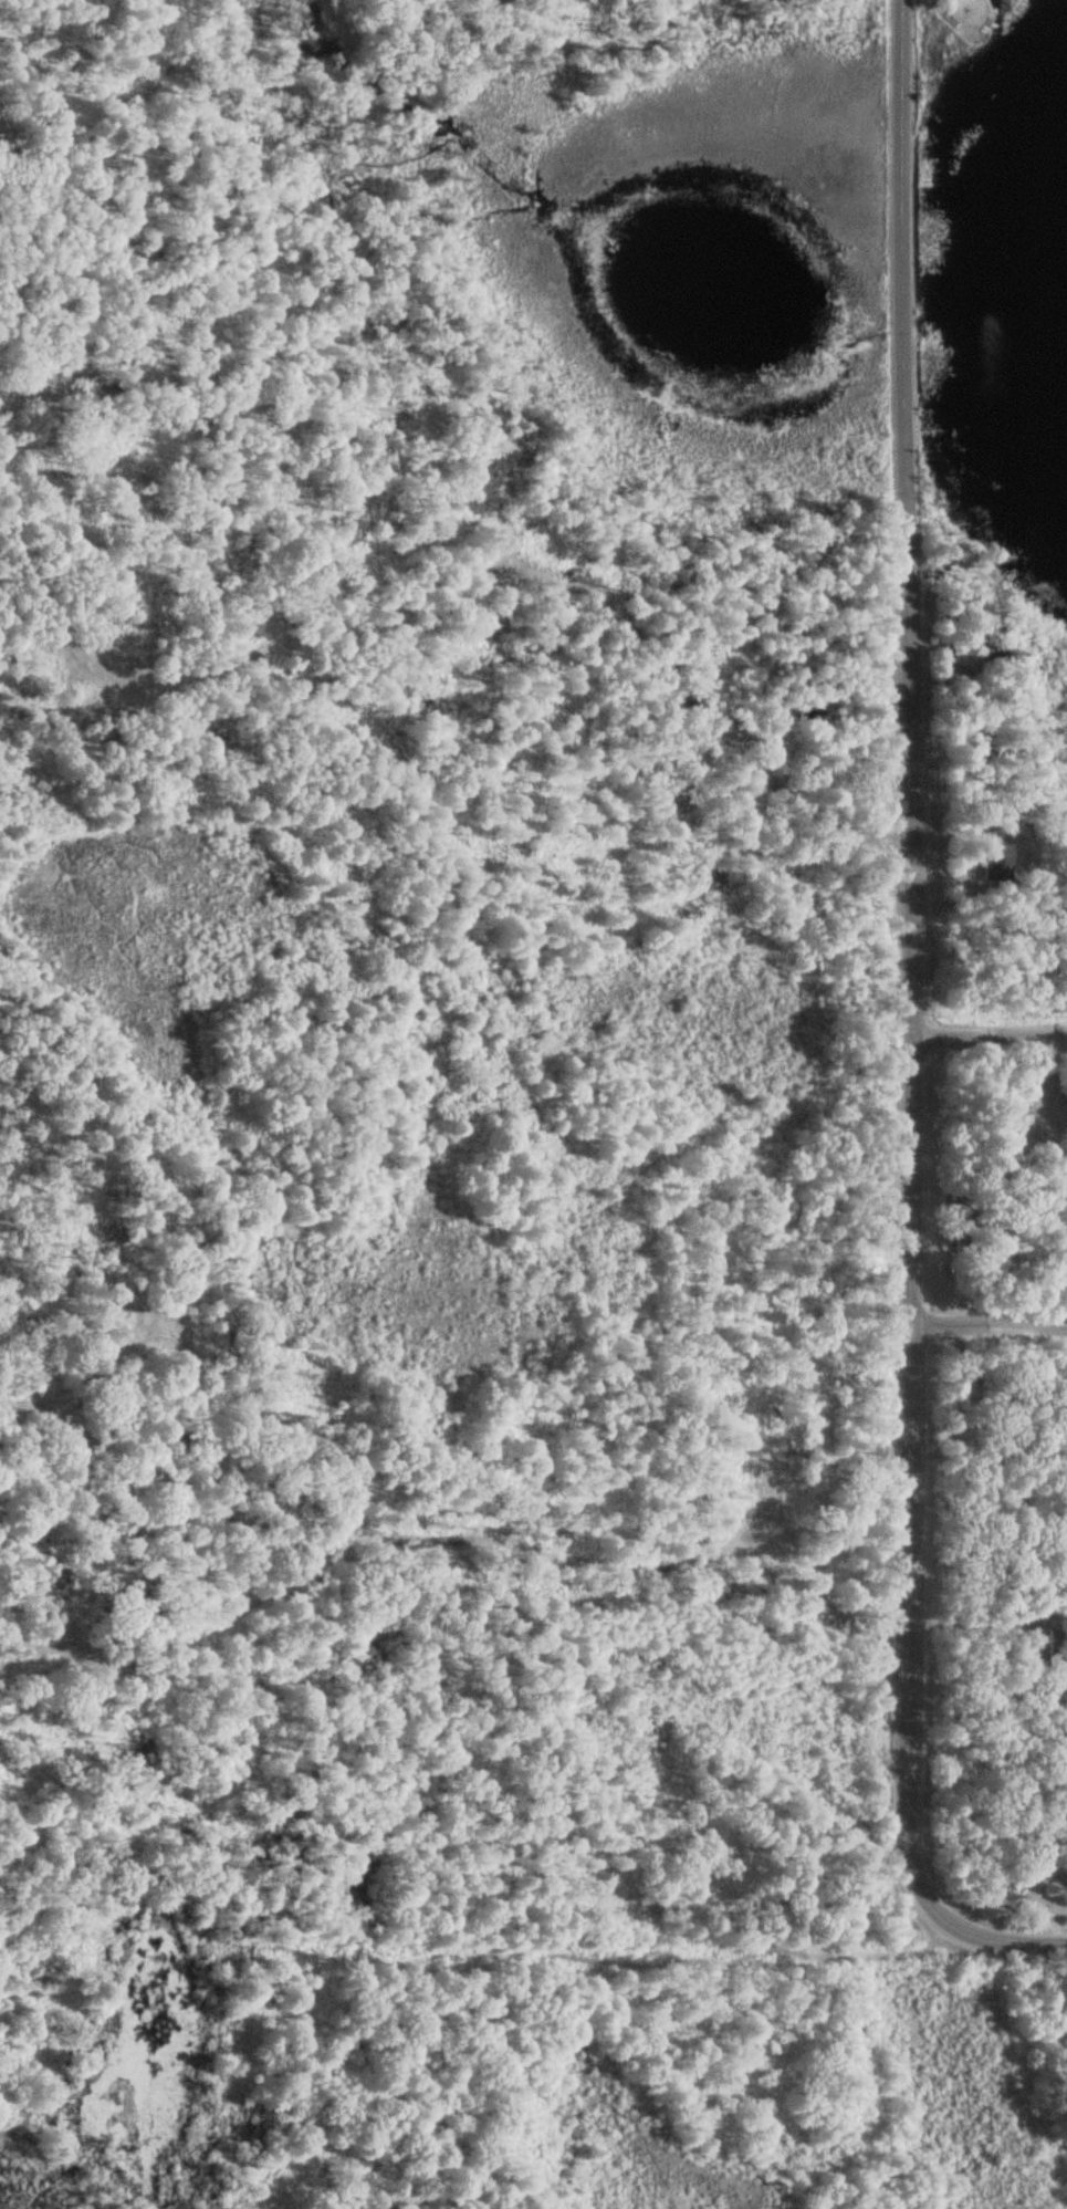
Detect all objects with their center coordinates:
building: (972, 656)
building: (985, 814)
building: (998, 862)
road: (908, 947)
road: (986, 1034)
building: (1015, 1116)
road: (991, 1323)
building: (964, 1416)
building: (1027, 1880)
road: (985, 1937)

